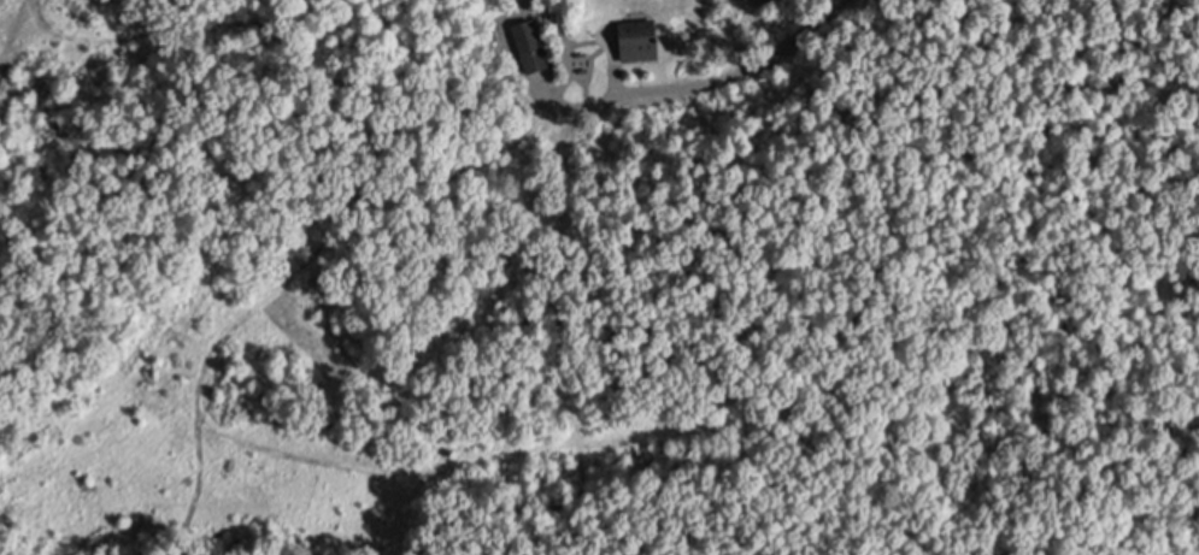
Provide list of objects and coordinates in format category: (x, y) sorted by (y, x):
building: (642, 41)
building: (531, 51)
road: (727, 72)

